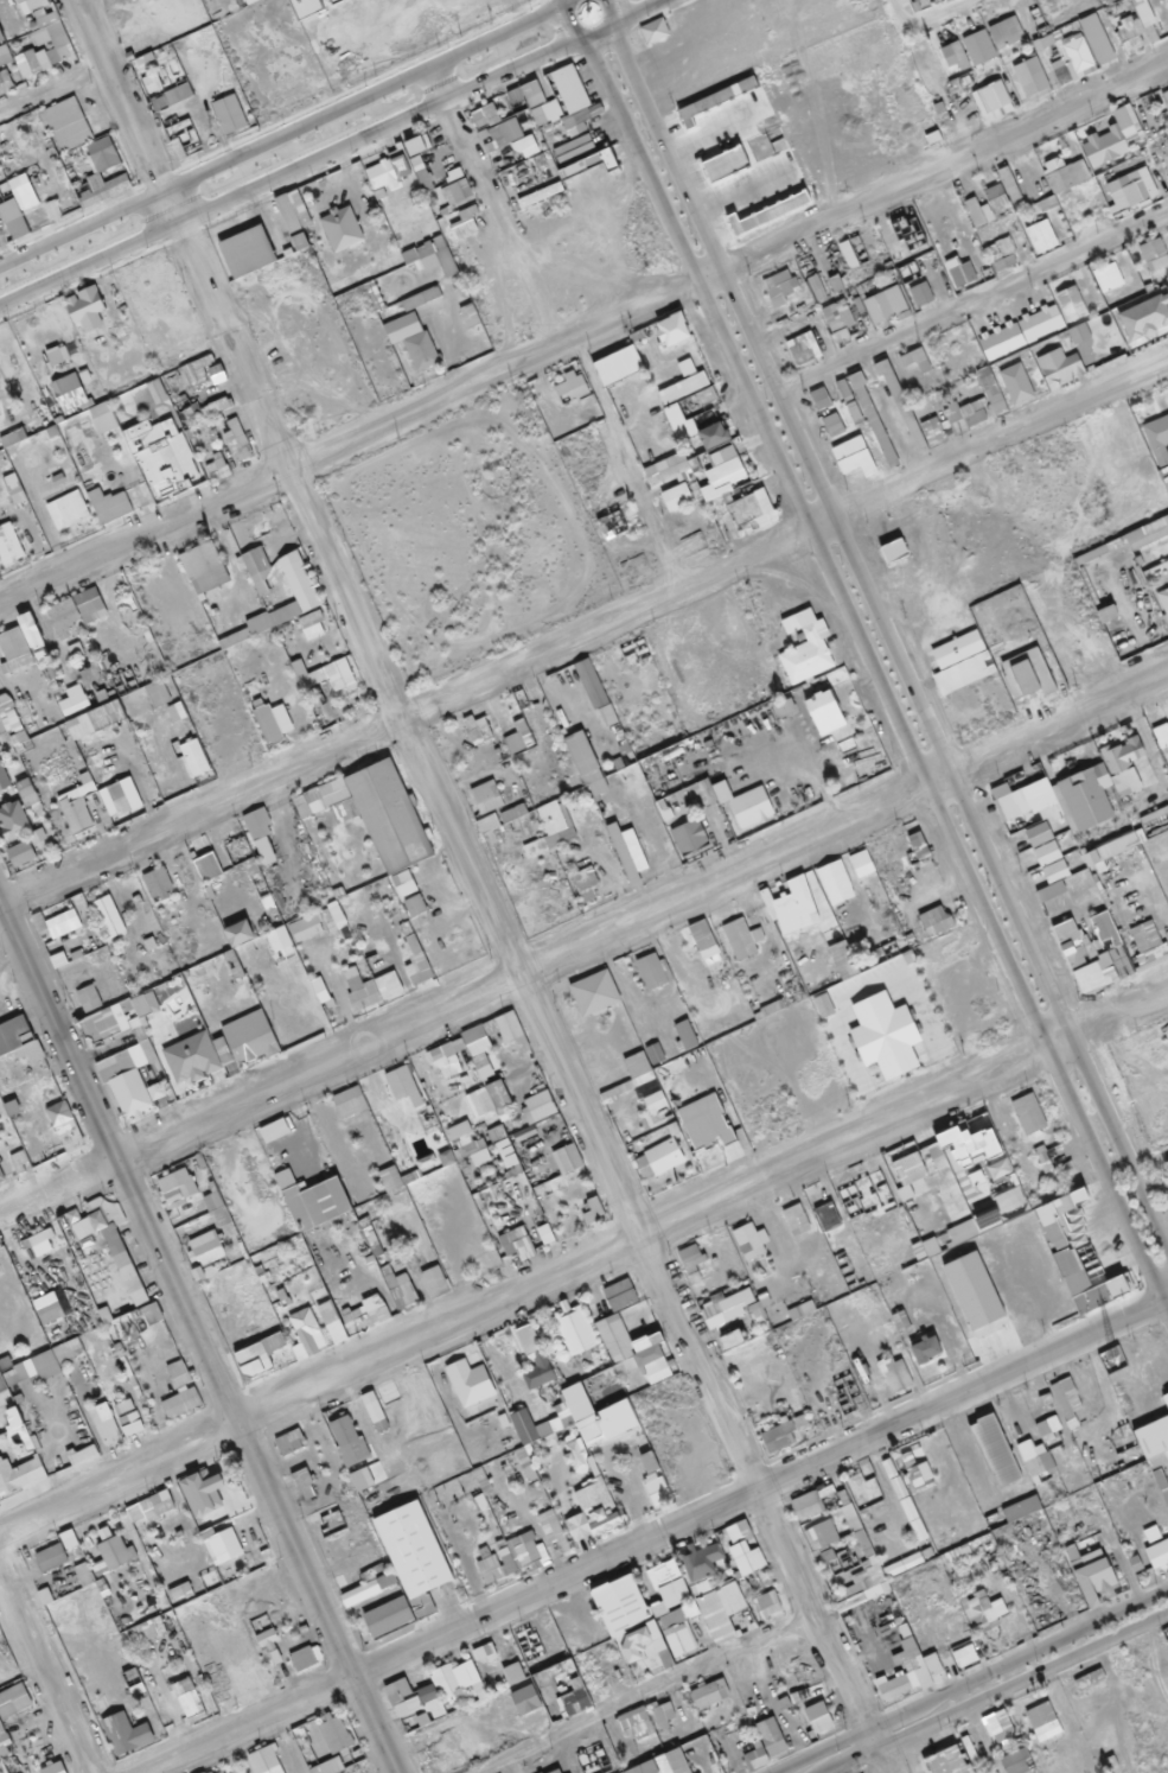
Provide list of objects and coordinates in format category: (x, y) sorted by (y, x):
road: (283, 134)
road: (327, 150)
road: (583, 329)
road: (583, 634)
road: (583, 943)

